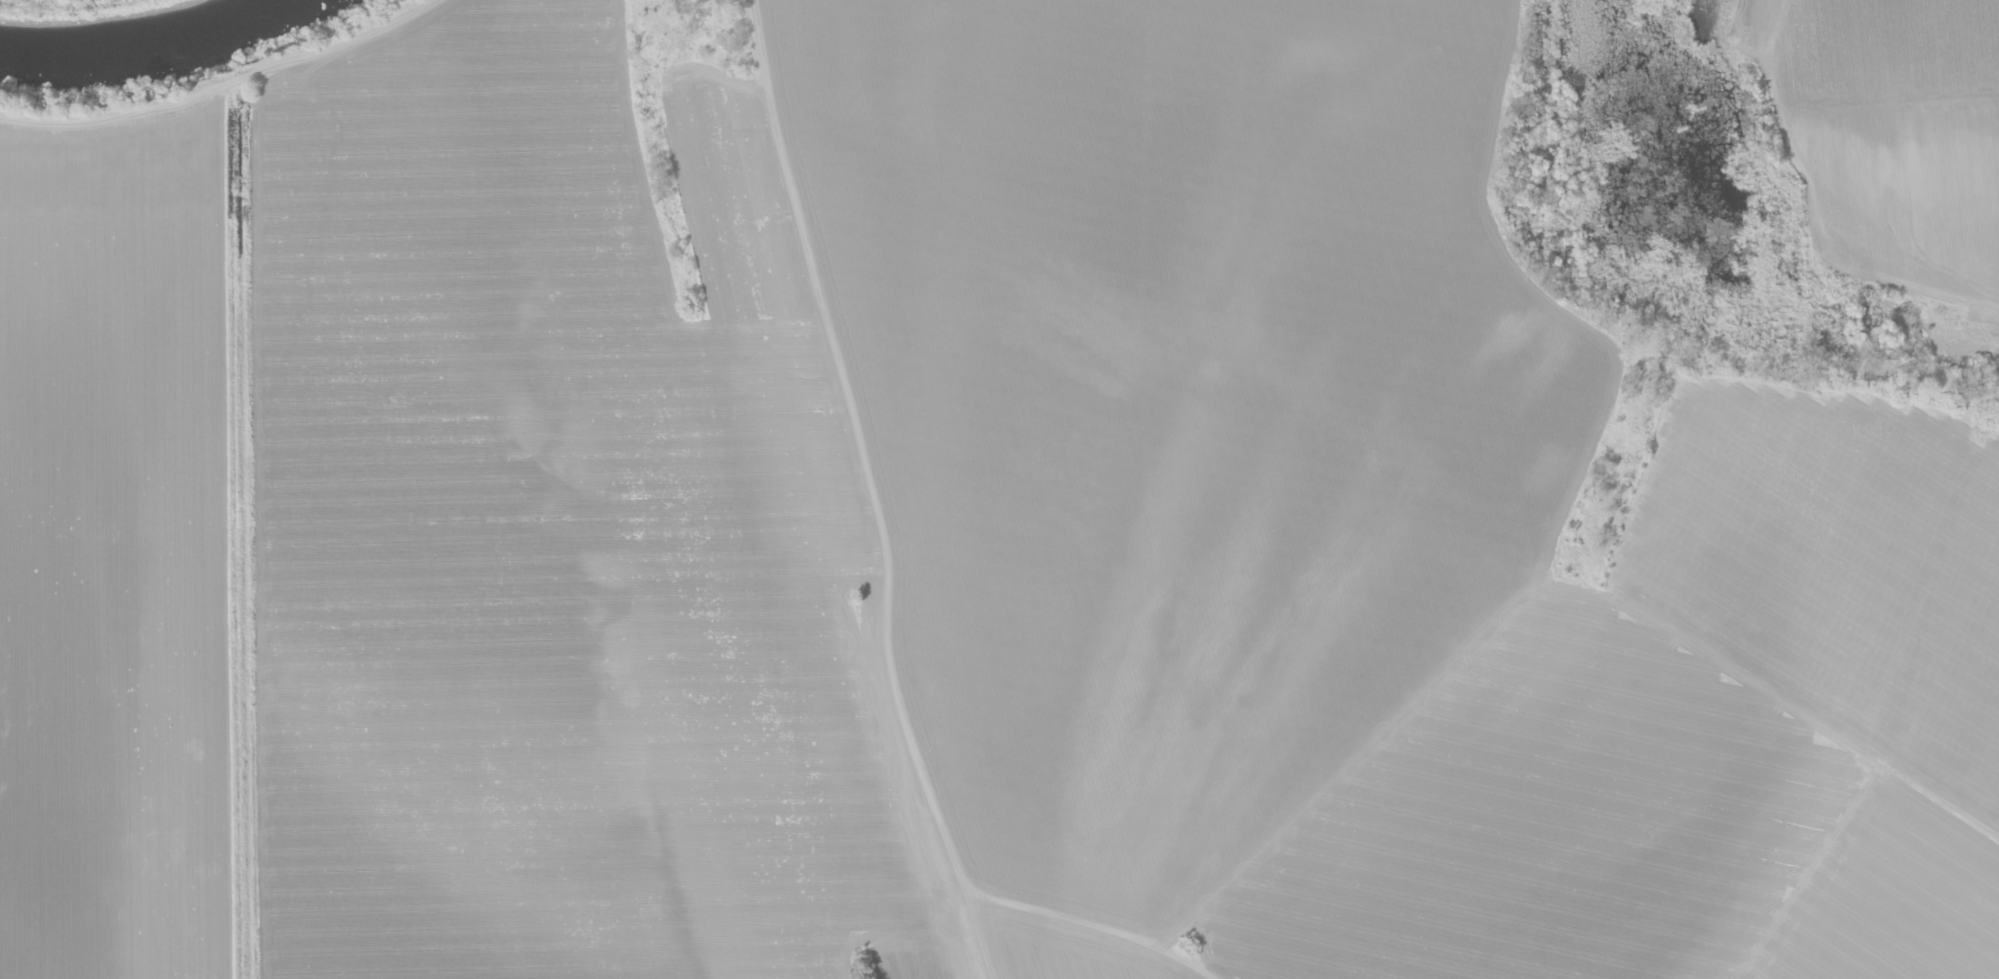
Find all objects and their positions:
river: (142, 46)

